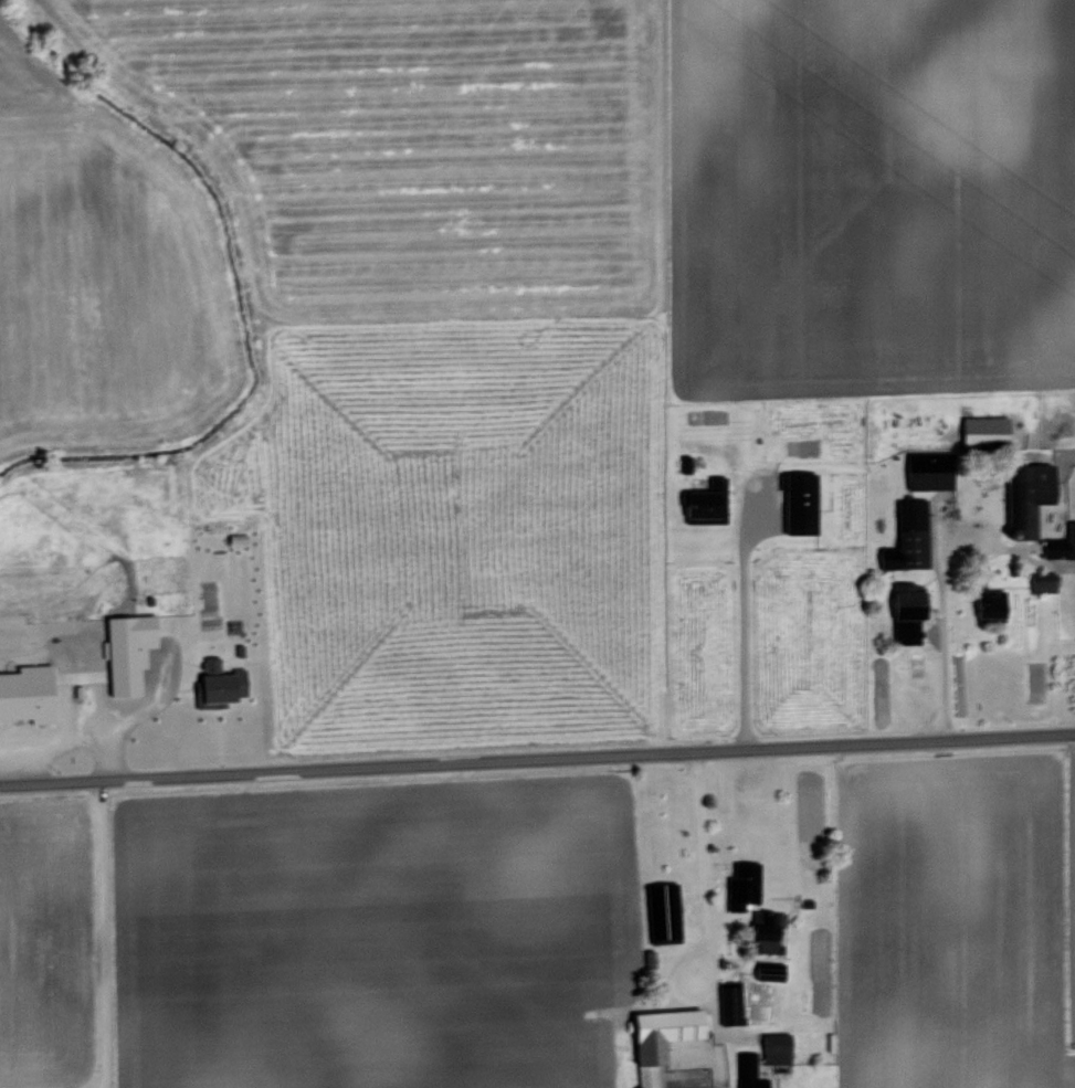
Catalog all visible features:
building: (983, 430)
building: (928, 468)
building: (1027, 495)
building: (704, 499)
building: (798, 500)
building: (907, 536)
road: (676, 541)
building: (1061, 541)
building: (1041, 584)
road: (941, 605)
building: (990, 605)
building: (905, 614)
road: (741, 622)
building: (126, 649)
building: (217, 683)
building: (25, 691)
road: (537, 759)
road: (698, 821)
building: (751, 905)
building: (662, 911)
road: (387, 928)
road: (103, 934)
building: (728, 1003)
building: (658, 1037)
building: (774, 1052)
building: (747, 1070)

